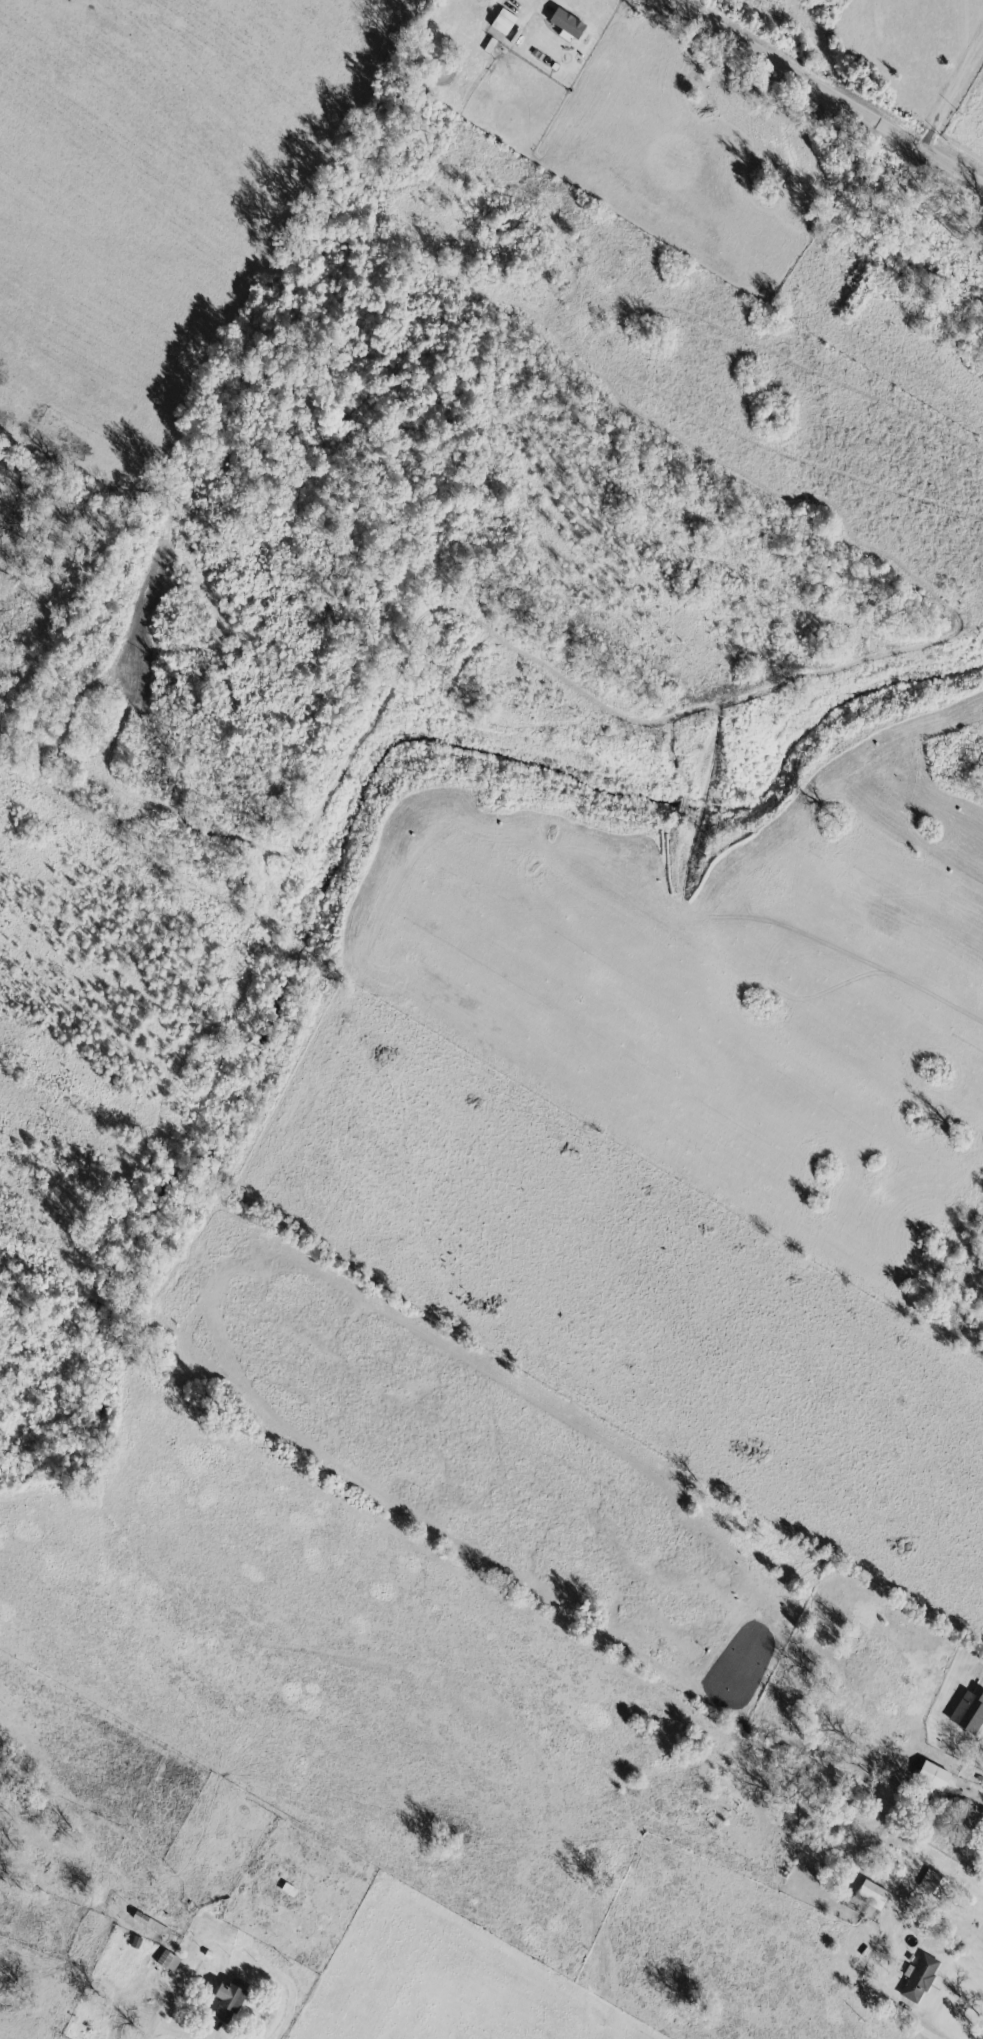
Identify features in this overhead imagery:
building: (502, 24)
building: (568, 24)
road: (828, 84)
road: (954, 93)
road: (752, 985)
road: (648, 1167)
building: (969, 1710)
building: (935, 1776)
building: (933, 1882)
building: (874, 1893)
building: (149, 1922)
building: (168, 1960)
building: (918, 1977)
road: (893, 1988)
building: (231, 2000)
road: (163, 2016)

